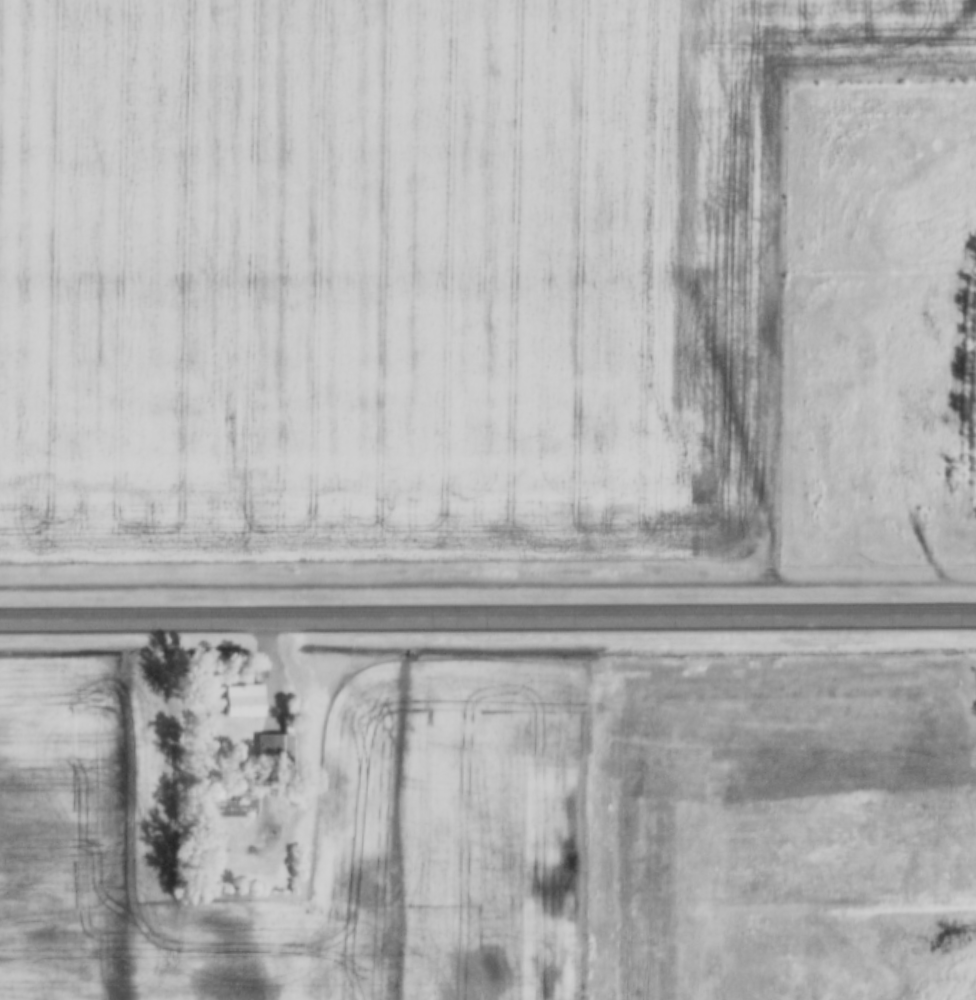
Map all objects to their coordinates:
crop: (405, 273)
road: (487, 617)
building: (244, 700)
building: (274, 750)
crop: (517, 837)

